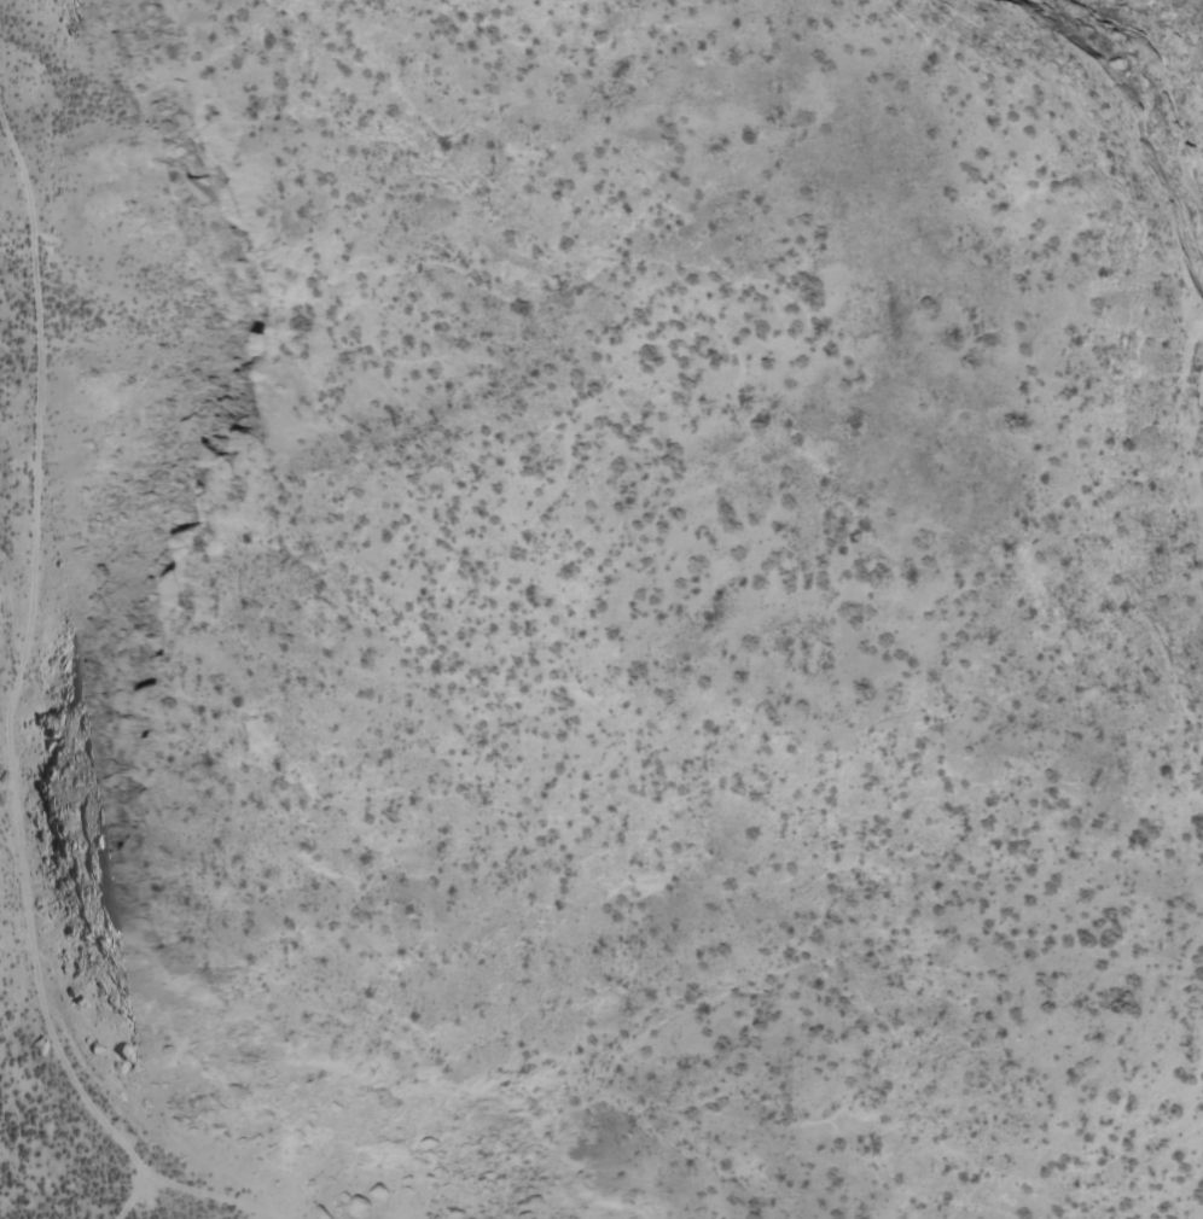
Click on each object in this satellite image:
road: (75, 682)

